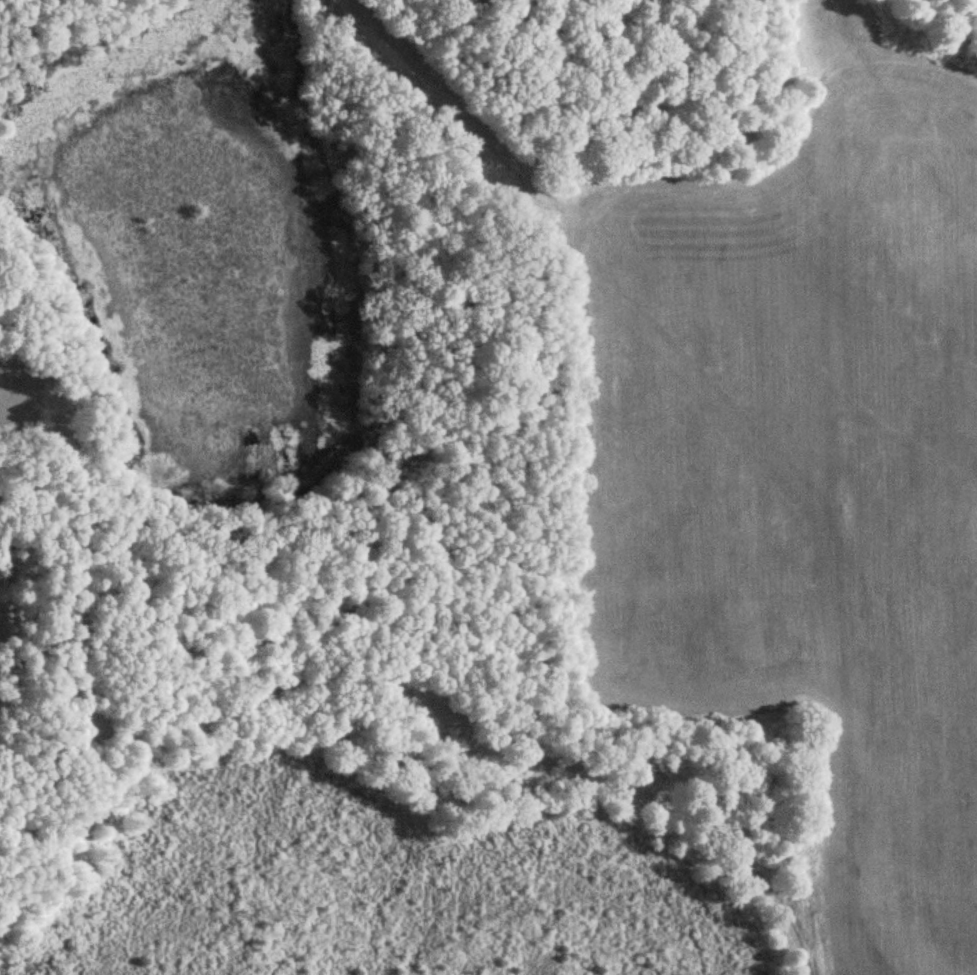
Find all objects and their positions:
road: (57, 632)
road: (450, 690)

